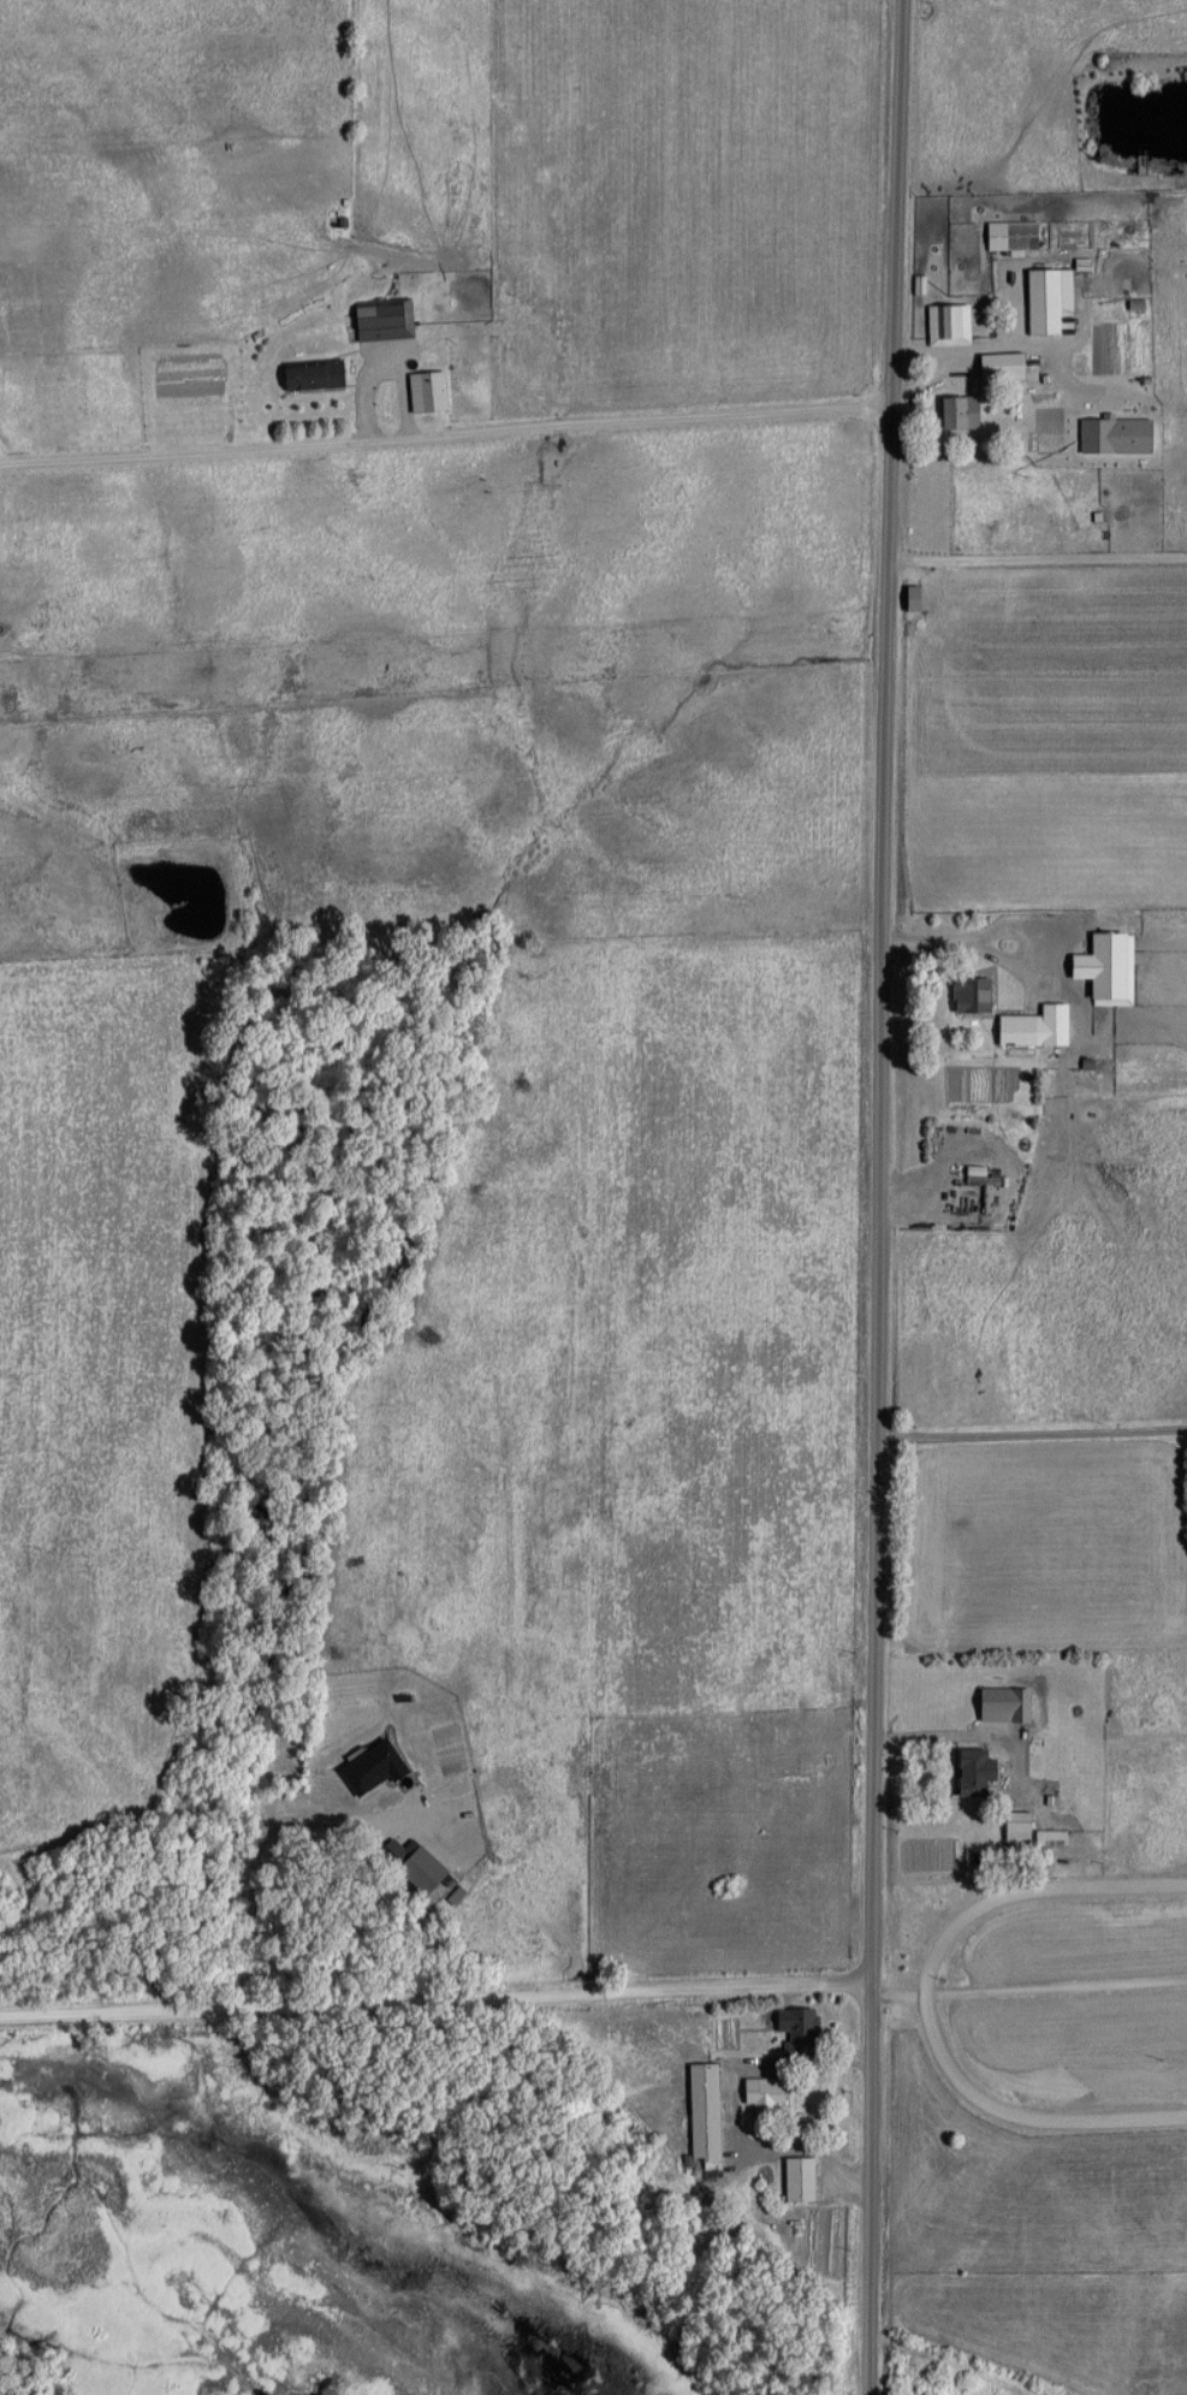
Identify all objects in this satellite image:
building: (1037, 236)
building: (1046, 301)
building: (379, 319)
building: (946, 322)
building: (999, 366)
road: (933, 369)
building: (309, 374)
building: (955, 411)
road: (446, 447)
road: (1038, 561)
road: (1010, 924)
road: (927, 938)
building: (1050, 947)
building: (967, 995)
building: (1047, 1012)
building: (1109, 1018)
building: (1013, 1030)
road: (874, 1197)
road: (1028, 1445)
building: (969, 1771)
building: (1014, 1826)
building: (1047, 1836)
road: (1025, 1994)
road: (925, 2003)
road: (431, 2009)
building: (800, 2032)
building: (761, 2089)
building: (701, 2115)
building: (795, 2178)

